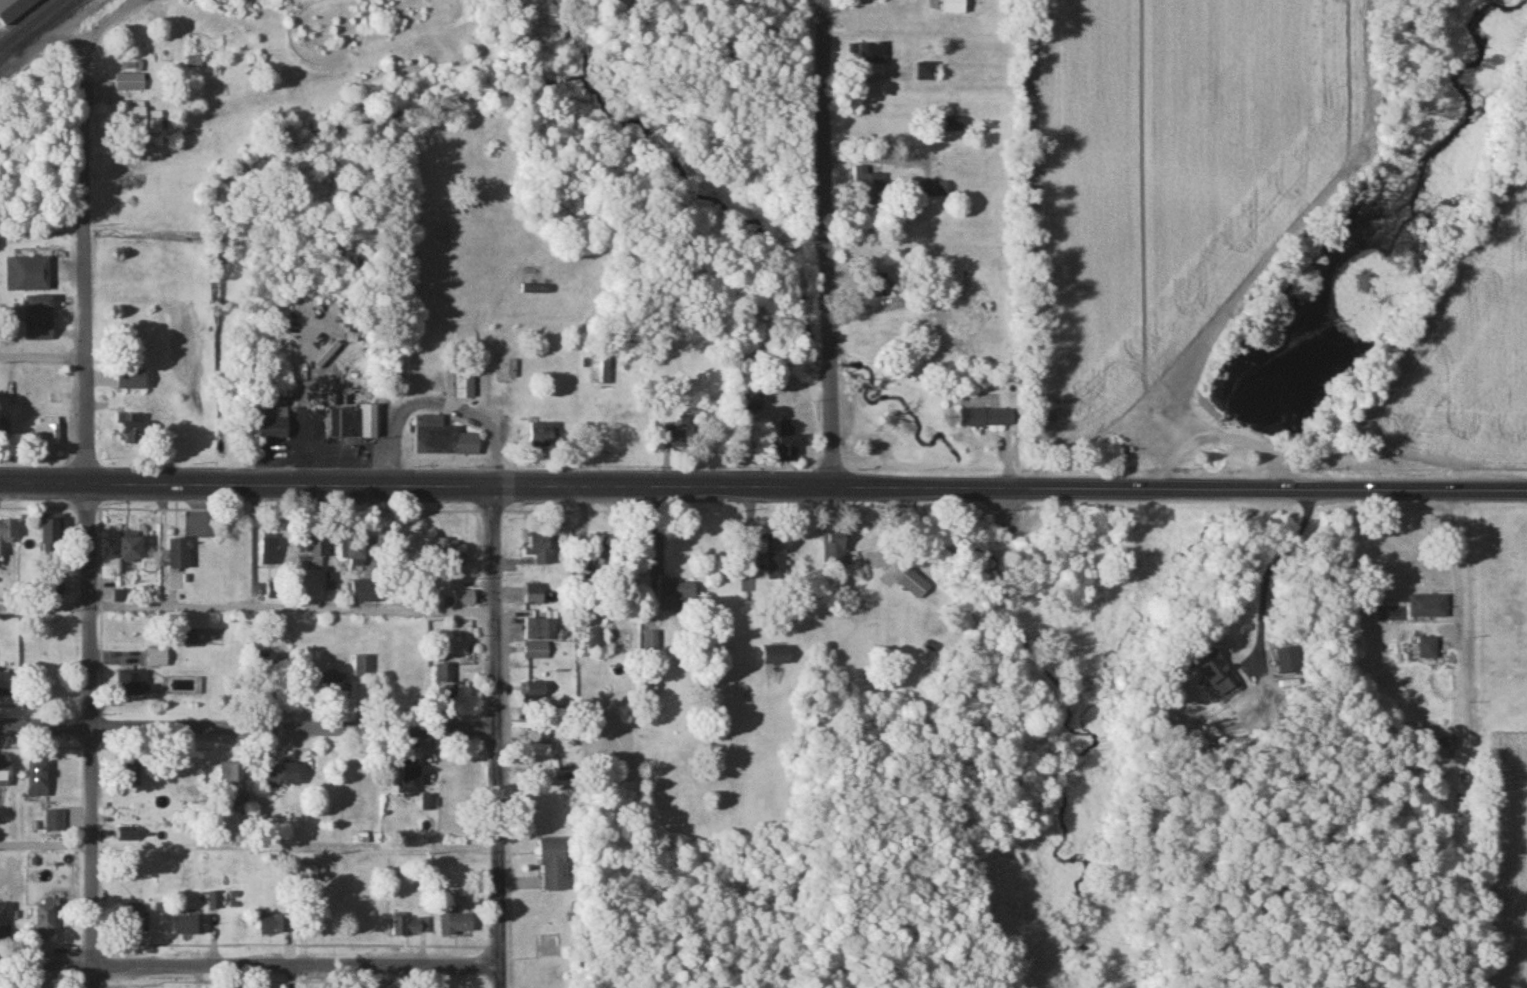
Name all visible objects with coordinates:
building: (953, 7)
building: (14, 9)
railway: (31, 23)
railway: (38, 29)
road: (96, 30)
building: (869, 55)
building: (928, 74)
building: (129, 84)
building: (147, 121)
building: (958, 126)
building: (869, 187)
building: (934, 192)
road: (829, 243)
building: (29, 276)
road: (82, 284)
building: (40, 319)
road: (41, 356)
building: (599, 370)
building: (134, 381)
building: (465, 384)
road: (438, 401)
building: (988, 419)
building: (354, 423)
building: (274, 425)
road: (1228, 429)
building: (132, 430)
building: (48, 432)
building: (443, 440)
park: (1204, 447)
building: (793, 448)
road: (472, 488)
road: (1236, 489)
building: (7, 537)
building: (51, 537)
building: (133, 549)
building: (542, 550)
building: (270, 551)
building: (836, 551)
building: (450, 552)
building: (315, 555)
building: (180, 556)
building: (359, 557)
building: (778, 558)
road: (1458, 563)
building: (612, 565)
road: (1267, 571)
building: (910, 585)
building: (366, 593)
building: (534, 596)
building: (679, 597)
building: (460, 600)
building: (1423, 606)
road: (246, 609)
building: (539, 631)
building: (651, 641)
building: (1422, 648)
building: (536, 653)
building: (778, 657)
building: (157, 661)
building: (274, 665)
building: (1209, 672)
building: (444, 679)
building: (351, 680)
building: (134, 685)
building: (8, 691)
building: (647, 692)
building: (535, 694)
road: (246, 726)
road: (90, 736)
road: (494, 737)
building: (1444, 743)
building: (537, 744)
building: (5, 771)
building: (233, 776)
building: (280, 777)
building: (39, 779)
building: (411, 782)
building: (428, 803)
building: (55, 822)
building: (129, 837)
road: (45, 843)
building: (554, 865)
building: (215, 901)
building: (46, 918)
building: (6, 919)
building: (456, 923)
building: (273, 924)
building: (190, 926)
building: (408, 927)
road: (45, 965)
road: (294, 965)

